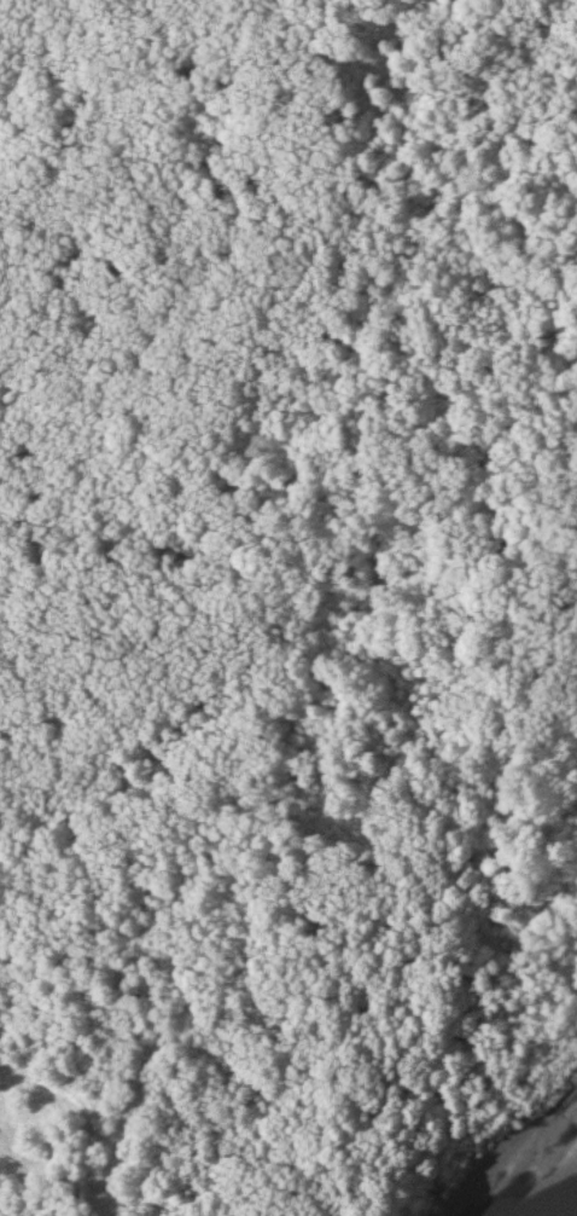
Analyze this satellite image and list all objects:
park: (285, 602)

